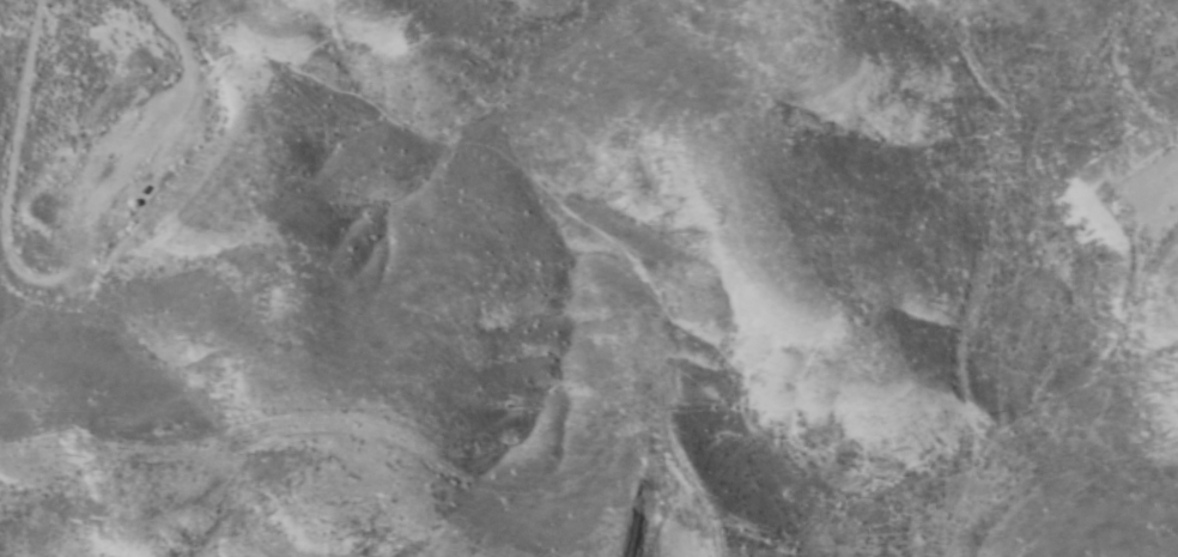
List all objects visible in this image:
road: (1075, 405)

